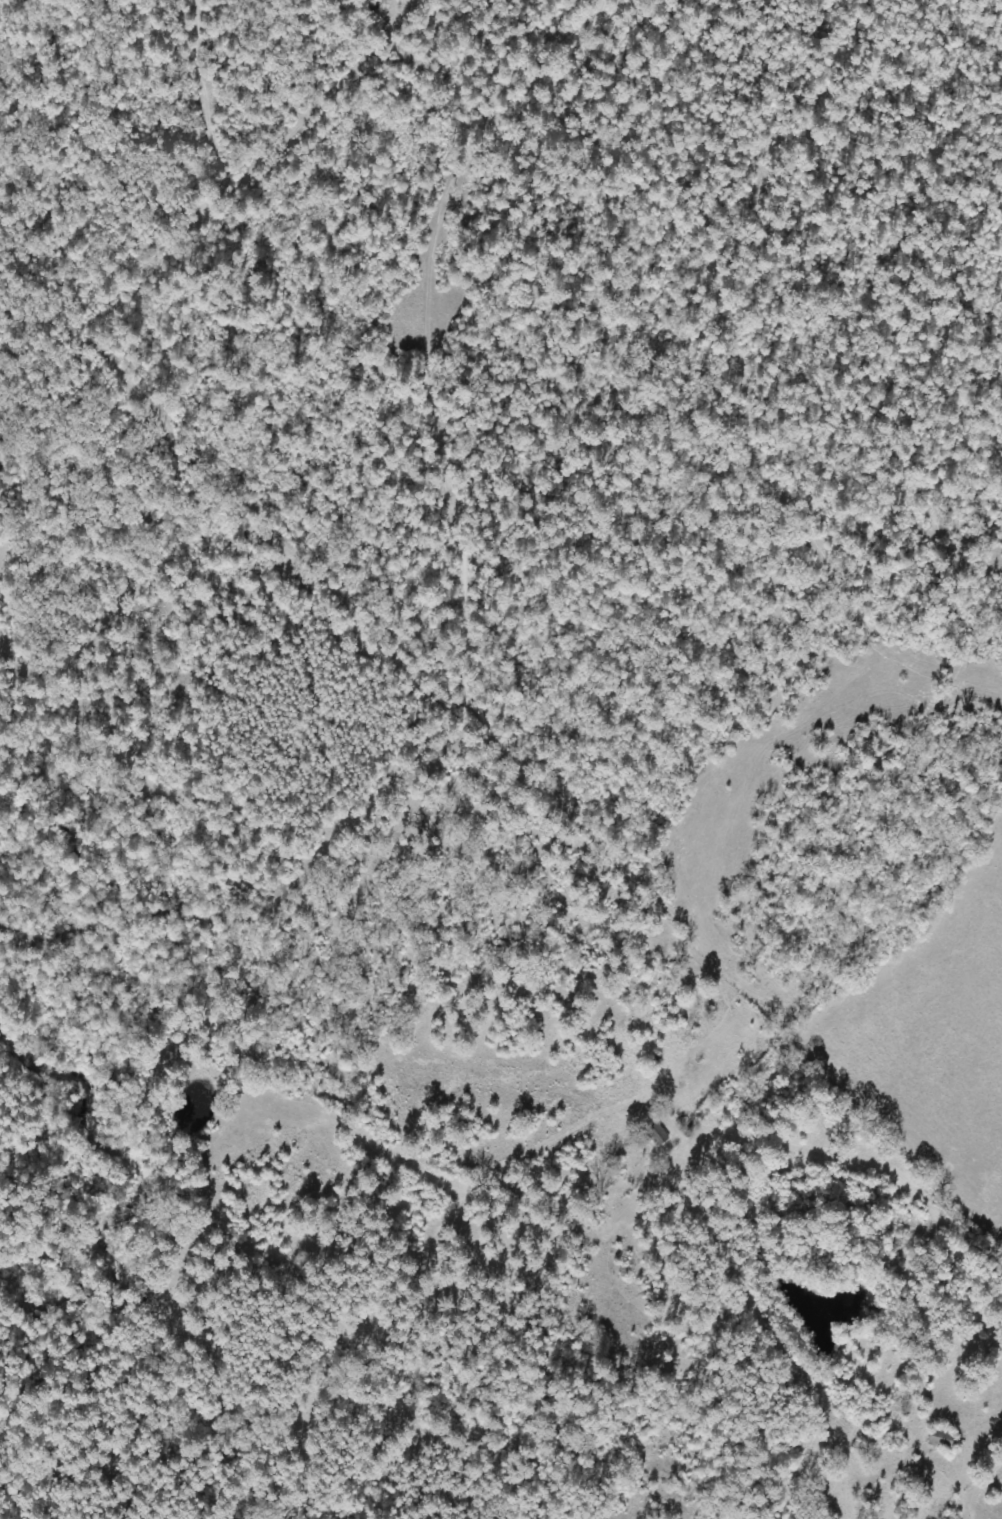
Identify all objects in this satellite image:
road: (862, 1203)
building: (941, 1439)

